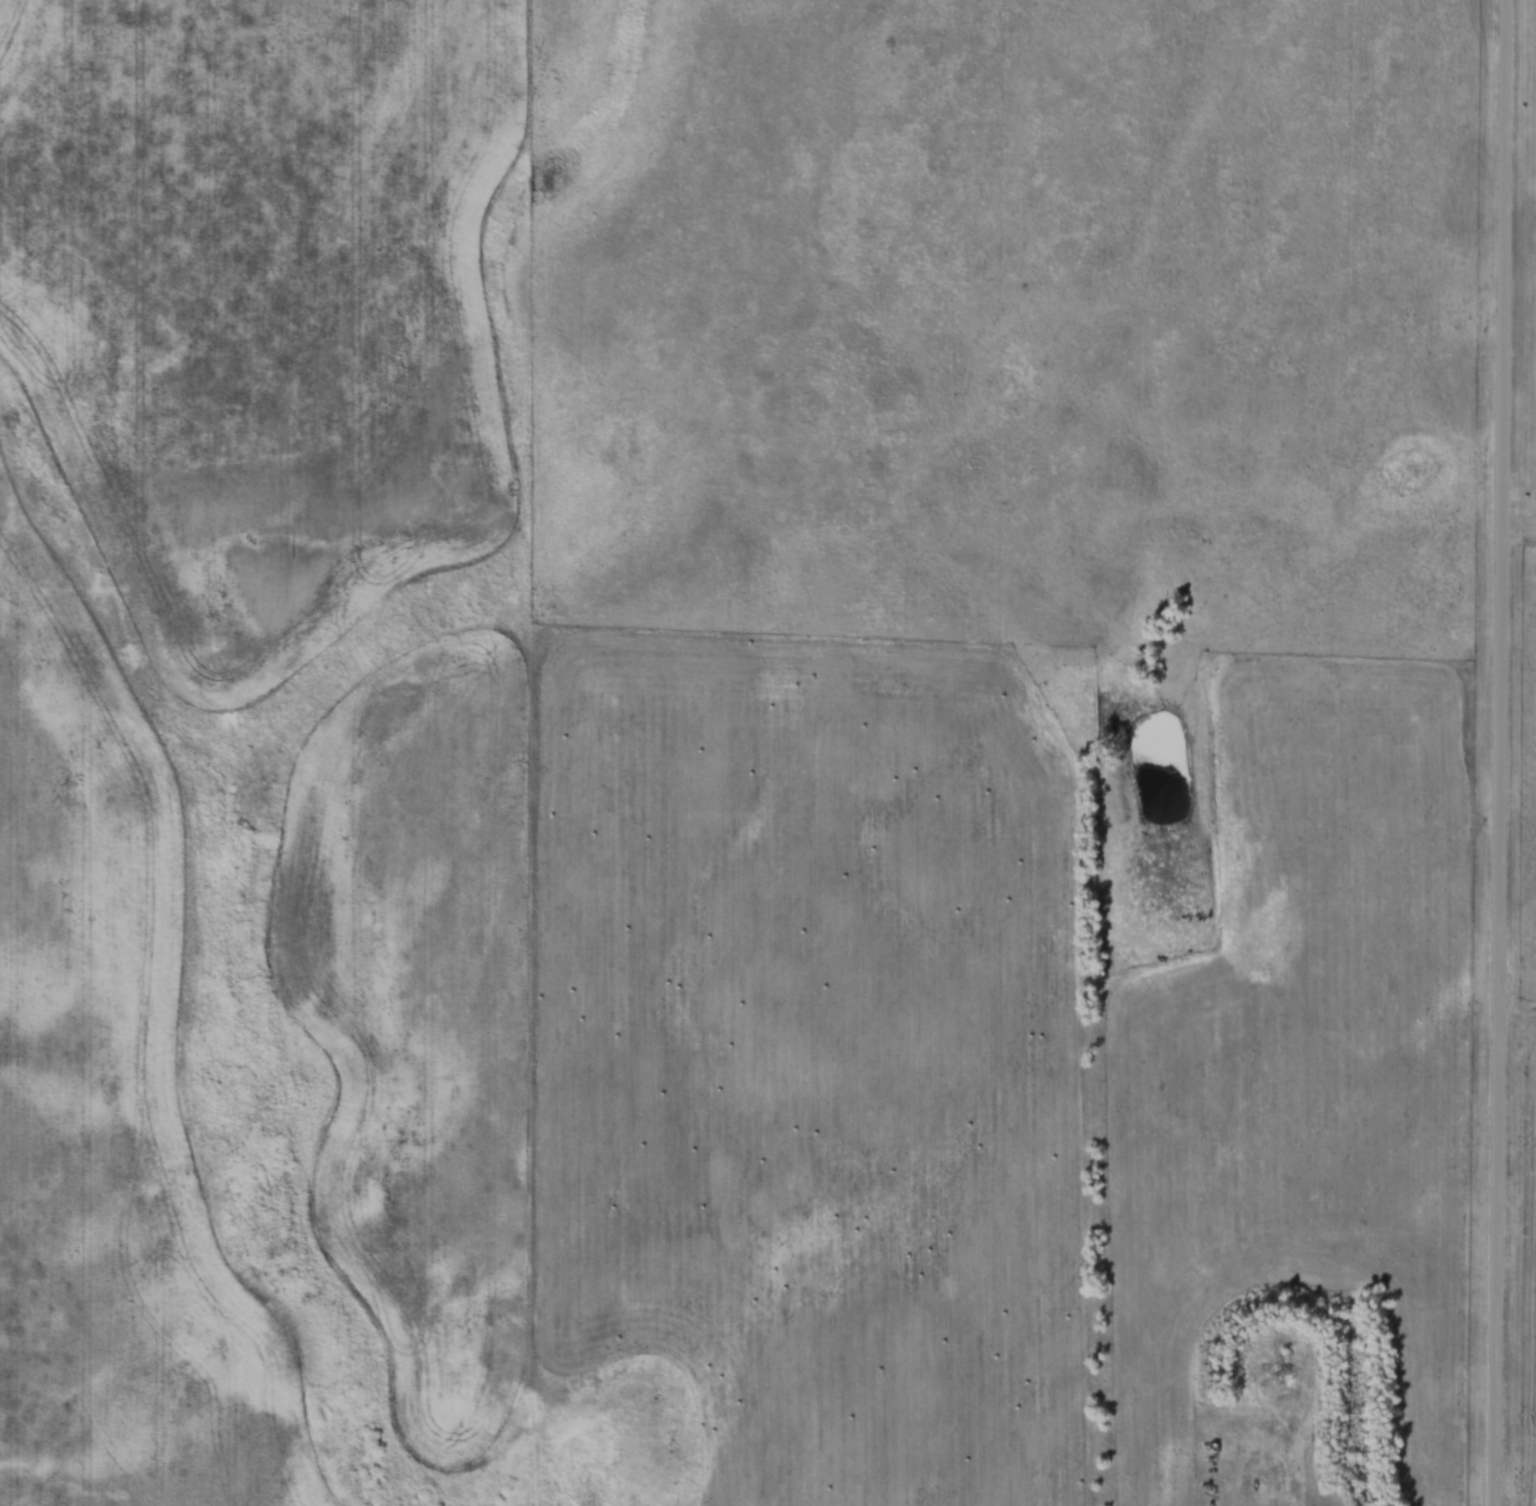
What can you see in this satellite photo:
road: (1499, 753)

